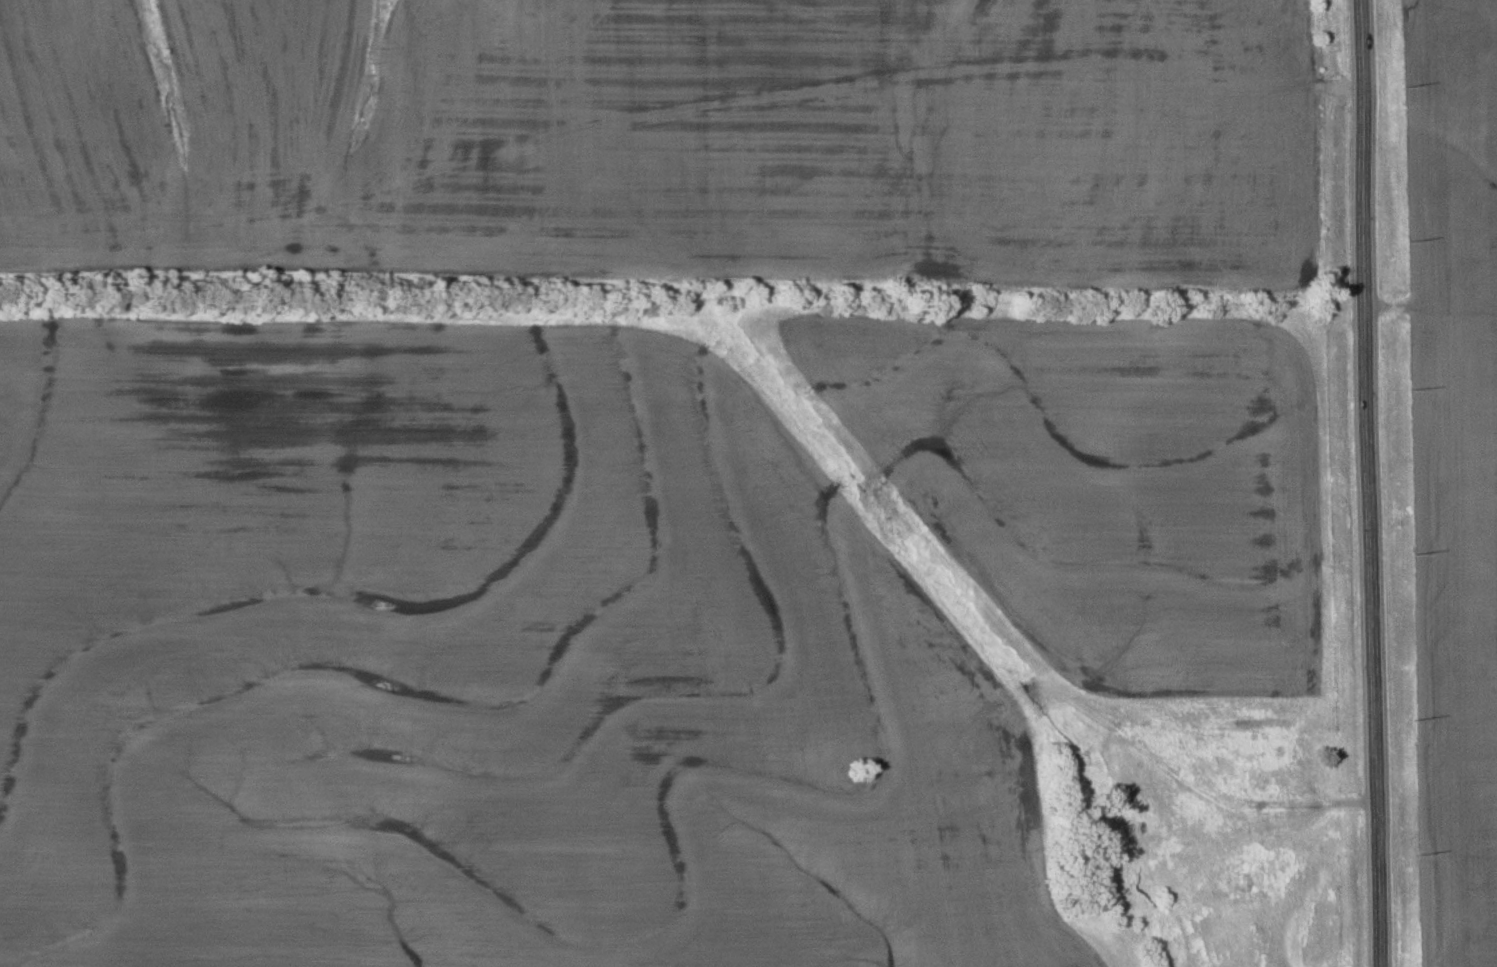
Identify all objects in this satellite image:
road: (1368, 483)
road: (1310, 843)
building: (1252, 874)

